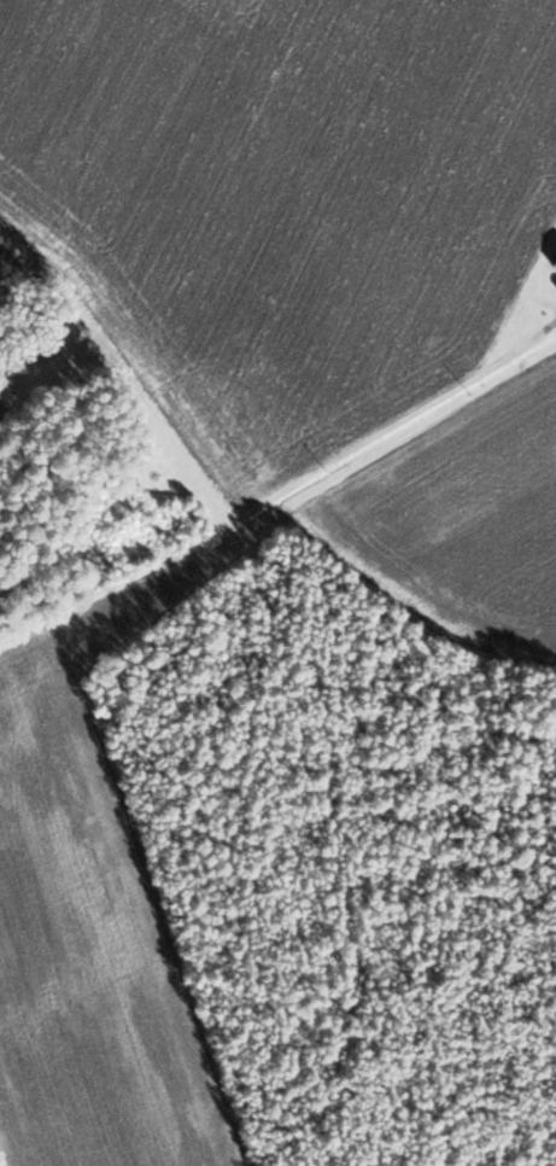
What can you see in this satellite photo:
building: (186, 41)
building: (274, 140)
building: (399, 150)
building: (555, 268)
building: (522, 319)
road: (439, 391)
building: (258, 441)

